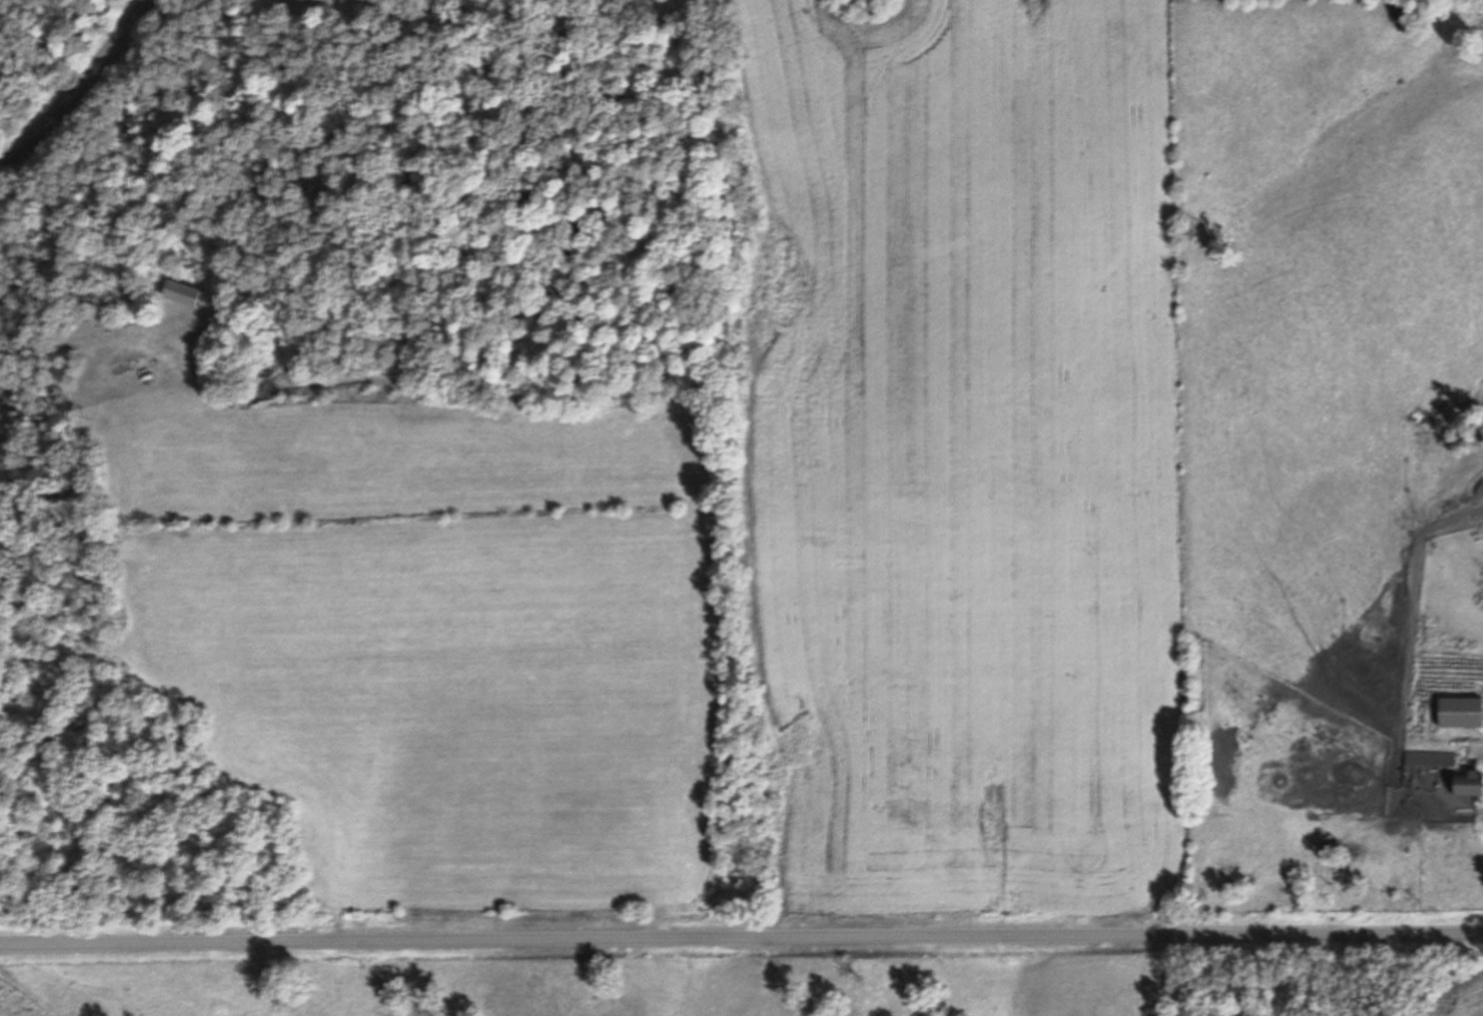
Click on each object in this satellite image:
road: (78, 90)
building: (182, 294)
building: (1460, 712)
building: (1430, 759)
building: (1467, 786)
road: (741, 930)

